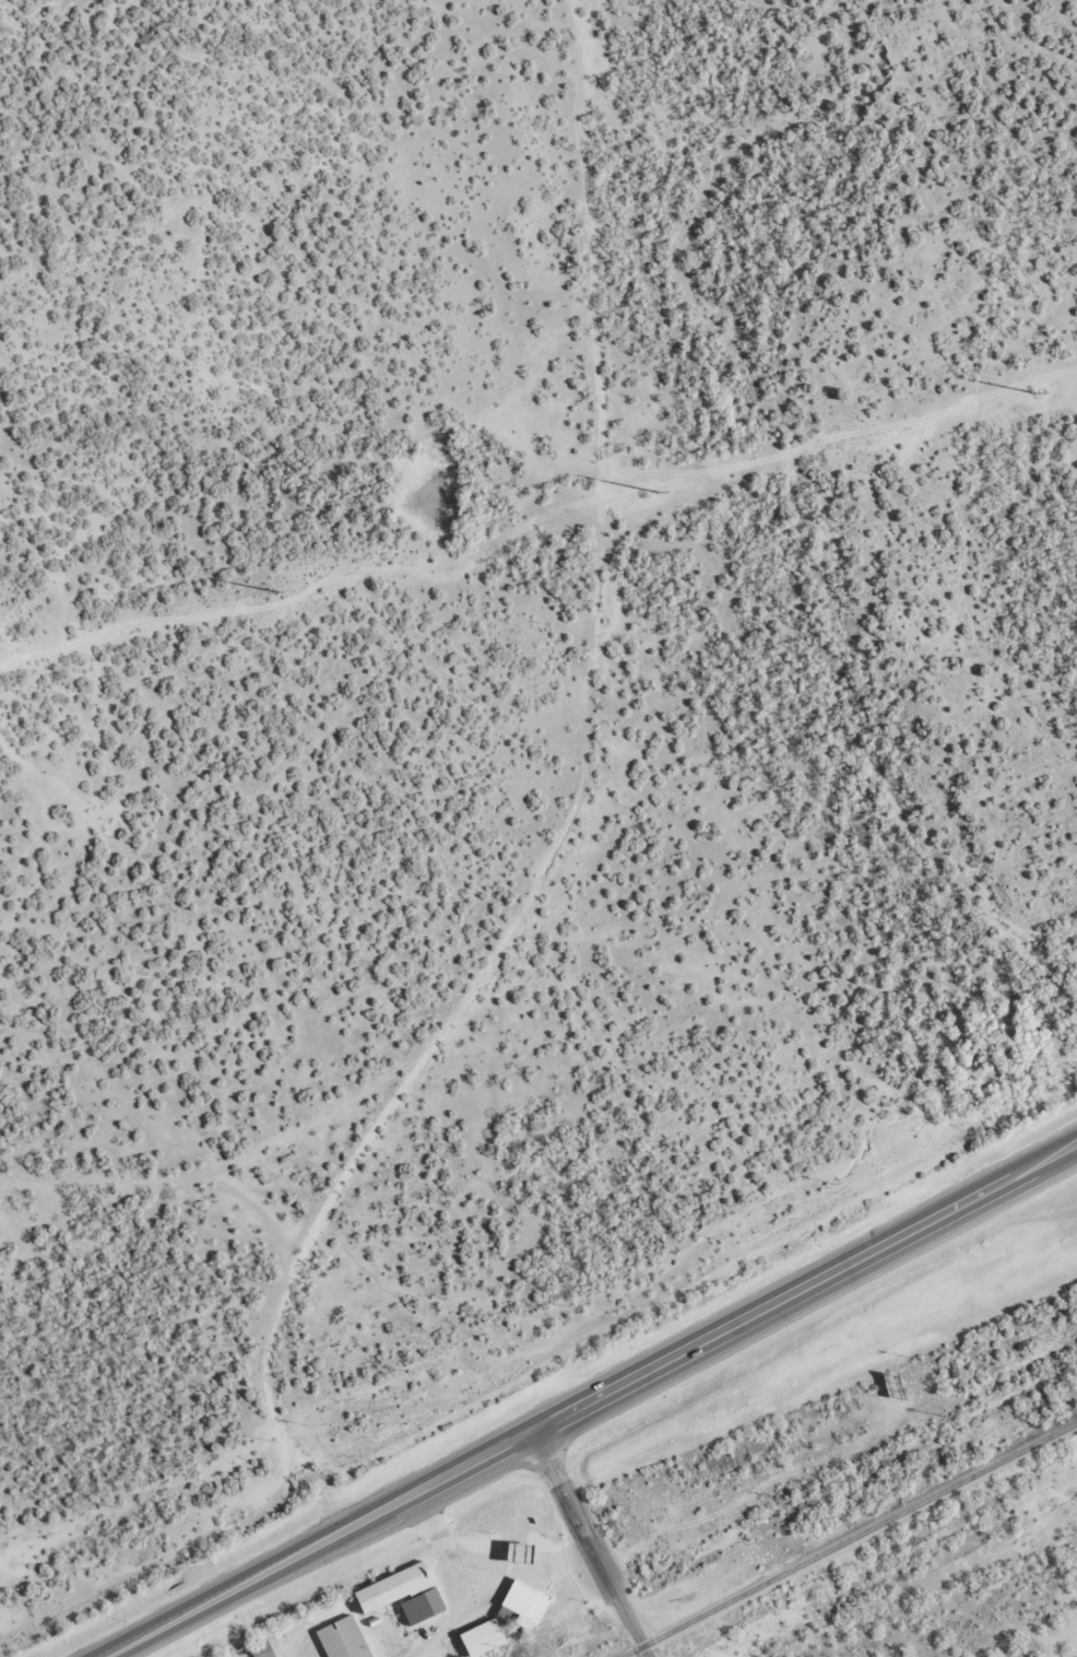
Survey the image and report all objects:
power tower: (1032, 391)
power tower: (654, 491)
power tower: (275, 590)
road: (246, 1047)
road: (590, 1405)
railway: (847, 1537)
road: (589, 1546)
building: (400, 1594)
building: (521, 1605)
building: (480, 1637)
building: (341, 1638)
building: (263, 1648)

